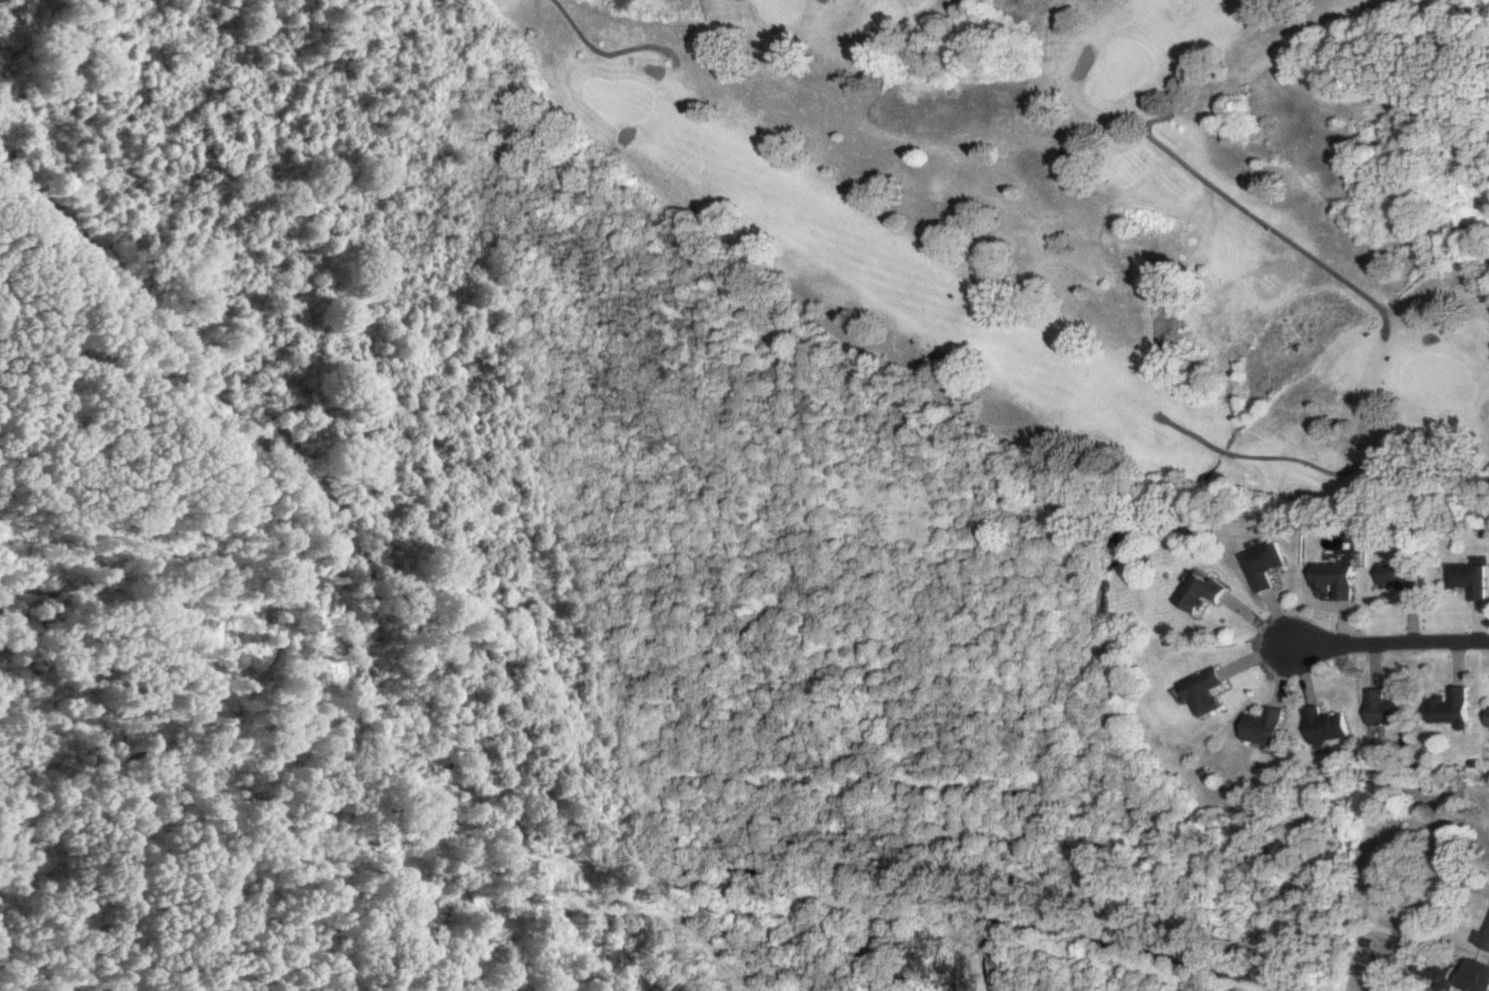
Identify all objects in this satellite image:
park: (1105, 219)
river: (1349, 321)
river: (1223, 455)
river: (1152, 525)
building: (1265, 568)
building: (1404, 581)
building: (1470, 581)
building: (1335, 582)
building: (1202, 595)
road: (1373, 644)
building: (1203, 694)
building: (1453, 710)
building: (1386, 711)
building: (1327, 727)
building: (1266, 728)
road: (1482, 886)
building: (1482, 940)
building: (1474, 976)

